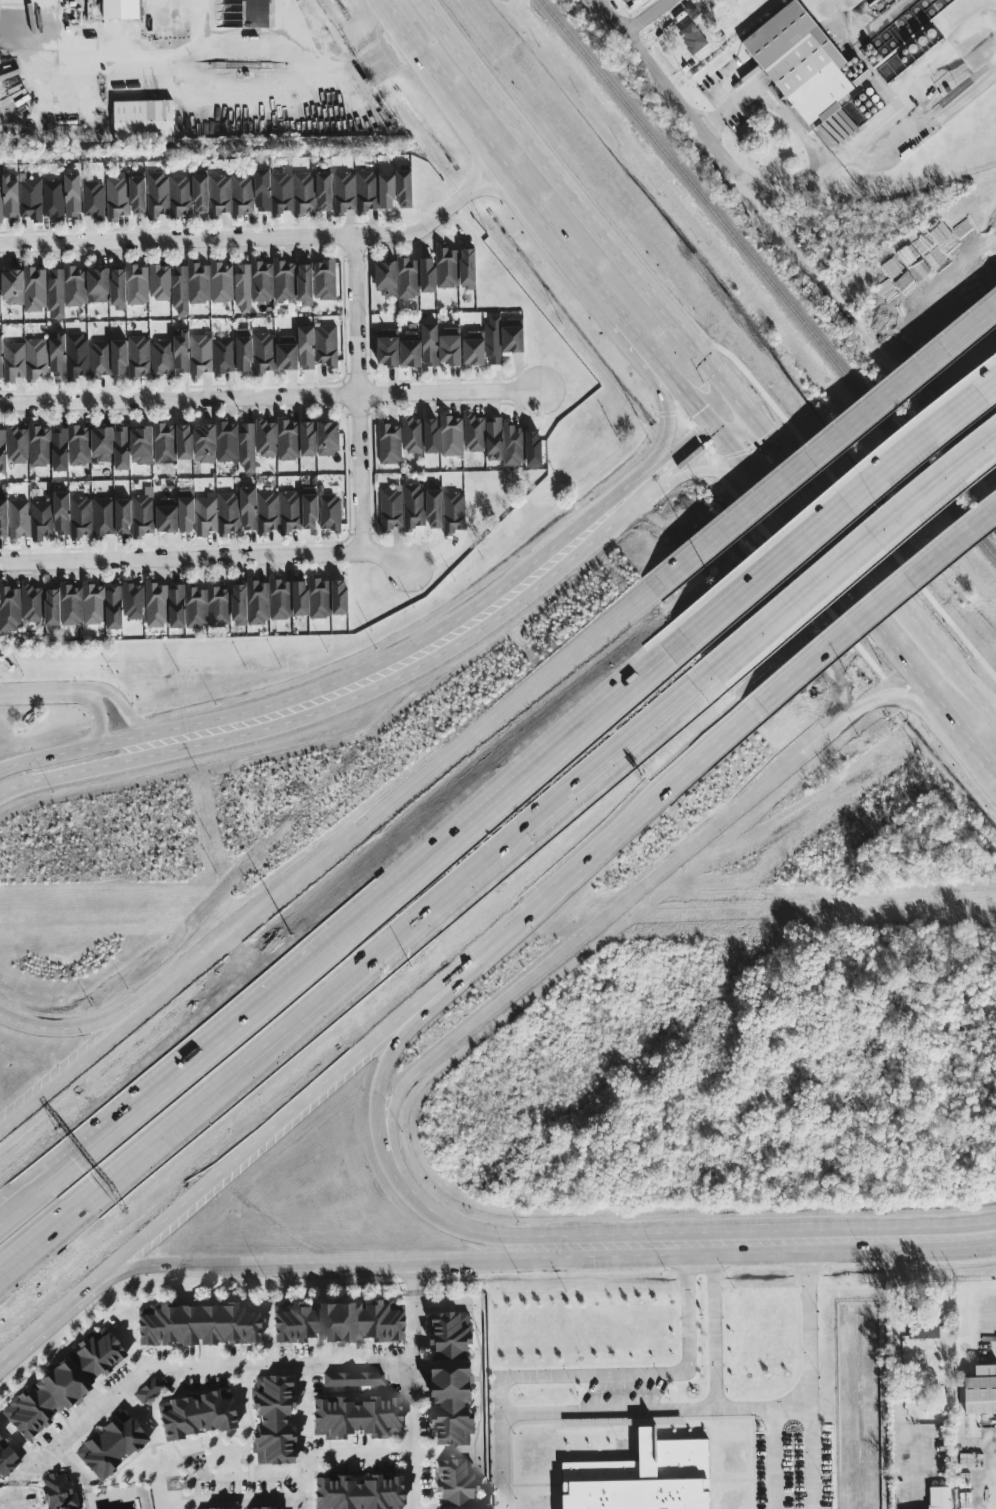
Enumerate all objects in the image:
building: (895, 0)
road: (827, 6)
building: (694, 8)
building: (120, 9)
road: (645, 15)
building: (692, 38)
building: (800, 61)
road: (373, 67)
road: (150, 84)
road: (672, 89)
road: (446, 98)
road: (906, 104)
building: (143, 121)
building: (837, 128)
road: (801, 134)
building: (404, 188)
building: (324, 190)
building: (386, 190)
building: (284, 191)
building: (355, 191)
building: (200, 193)
building: (72, 194)
building: (168, 194)
building: (231, 194)
building: (137, 195)
building: (8, 196)
building: (117, 196)
building: (53, 198)
building: (93, 198)
building: (31, 199)
road: (580, 204)
road: (261, 237)
road: (570, 257)
building: (447, 266)
building: (468, 268)
building: (427, 274)
building: (398, 277)
railway: (767, 278)
building: (324, 279)
building: (159, 281)
building: (264, 282)
building: (201, 283)
building: (98, 284)
building: (137, 284)
building: (305, 284)
building: (117, 286)
building: (24, 288)
building: (66, 289)
building: (512, 334)
road: (640, 343)
building: (429, 344)
building: (483, 344)
building: (326, 345)
building: (449, 345)
building: (306, 347)
building: (410, 349)
building: (181, 350)
building: (387, 350)
building: (264, 352)
building: (286, 352)
building: (200, 353)
building: (244, 353)
building: (57, 354)
building: (77, 355)
building: (223, 355)
building: (131, 356)
building: (0, 357)
building: (161, 357)
building: (99, 358)
building: (26, 359)
road: (358, 391)
road: (450, 391)
road: (179, 397)
road: (688, 398)
traffic signals: (738, 408)
road: (725, 418)
traffic signals: (712, 428)
building: (473, 432)
building: (411, 434)
building: (451, 434)
building: (431, 435)
road: (663, 436)
building: (306, 438)
building: (226, 441)
building: (172, 442)
building: (256, 442)
building: (389, 442)
building: (102, 443)
building: (204, 443)
building: (512, 443)
building: (17, 444)
building: (39, 445)
building: (141, 445)
building: (70, 446)
building: (121, 447)
road: (821, 449)
building: (3, 451)
road: (732, 453)
road: (670, 461)
road: (690, 472)
road: (818, 505)
building: (401, 507)
building: (248, 508)
building: (434, 508)
building: (186, 510)
building: (286, 510)
building: (61, 512)
building: (143, 512)
building: (330, 512)
building: (453, 512)
road: (835, 513)
building: (166, 514)
building: (217, 514)
building: (80, 516)
building: (102, 516)
building: (122, 516)
building: (19, 517)
building: (41, 519)
road: (204, 554)
road: (848, 556)
road: (834, 571)
building: (327, 597)
building: (268, 600)
building: (133, 601)
building: (31, 603)
building: (71, 603)
building: (93, 603)
building: (156, 604)
building: (113, 605)
building: (198, 605)
building: (52, 606)
building: (9, 607)
road: (872, 608)
road: (947, 659)
road: (403, 662)
road: (35, 693)
road: (938, 694)
road: (119, 702)
road: (98, 711)
road: (977, 742)
road: (68, 747)
road: (441, 761)
road: (994, 763)
road: (69, 771)
road: (591, 855)
road: (422, 869)
road: (654, 877)
road: (350, 978)
road: (126, 1005)
road: (425, 1012)
road: (119, 1028)
road: (274, 1134)
road: (80, 1144)
road: (82, 1157)
road: (392, 1163)
road: (946, 1236)
road: (852, 1239)
road: (760, 1242)
road: (699, 1243)
road: (597, 1246)
road: (312, 1264)
road: (414, 1278)
road: (69, 1308)
building: (337, 1322)
road: (809, 1323)
building: (197, 1326)
building: (922, 1327)
road: (12, 1359)
road: (192, 1366)
road: (897, 1370)
road: (639, 1373)
building: (451, 1378)
building: (353, 1379)
building: (62, 1384)
building: (980, 1389)
building: (147, 1390)
road: (304, 1398)
road: (413, 1401)
road: (745, 1407)
road: (692, 1408)
building: (196, 1415)
building: (355, 1418)
building: (272, 1421)
building: (619, 1422)
road: (774, 1439)
building: (110, 1446)
road: (334, 1453)
road: (812, 1457)
road: (502, 1460)
building: (6, 1462)
building: (643, 1477)
building: (454, 1480)
building: (57, 1492)
building: (358, 1493)
road: (16, 1494)
building: (939, 1497)
road: (251, 1500)
road: (10, 1504)
building: (227, 1508)
building: (264, 1508)
building: (455, 1508)

